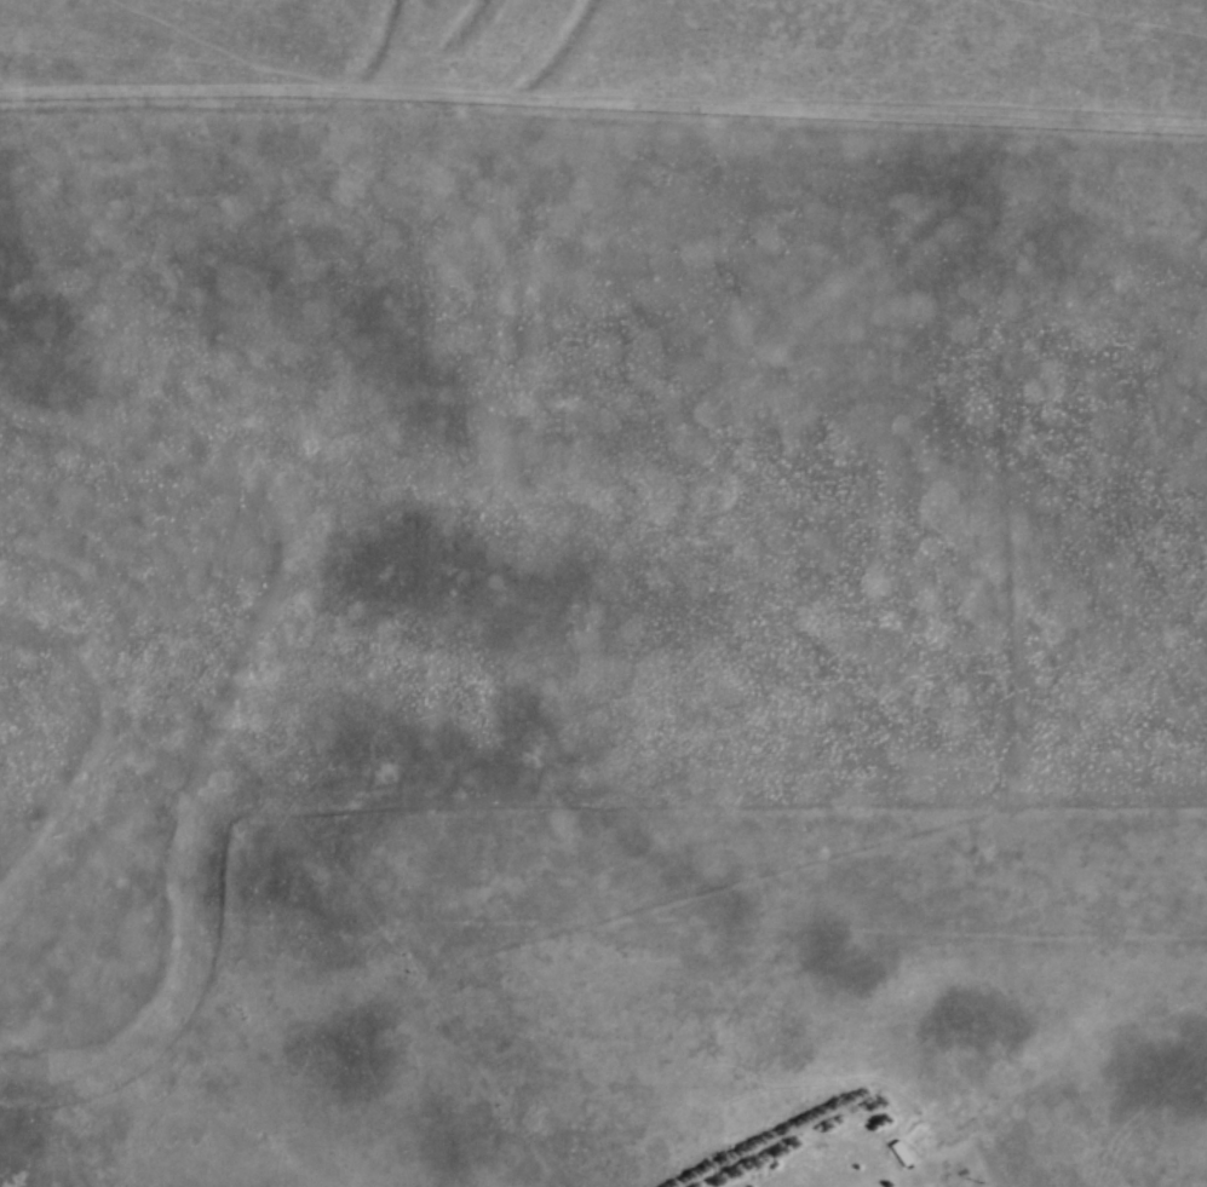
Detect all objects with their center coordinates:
building: (899, 1151)

